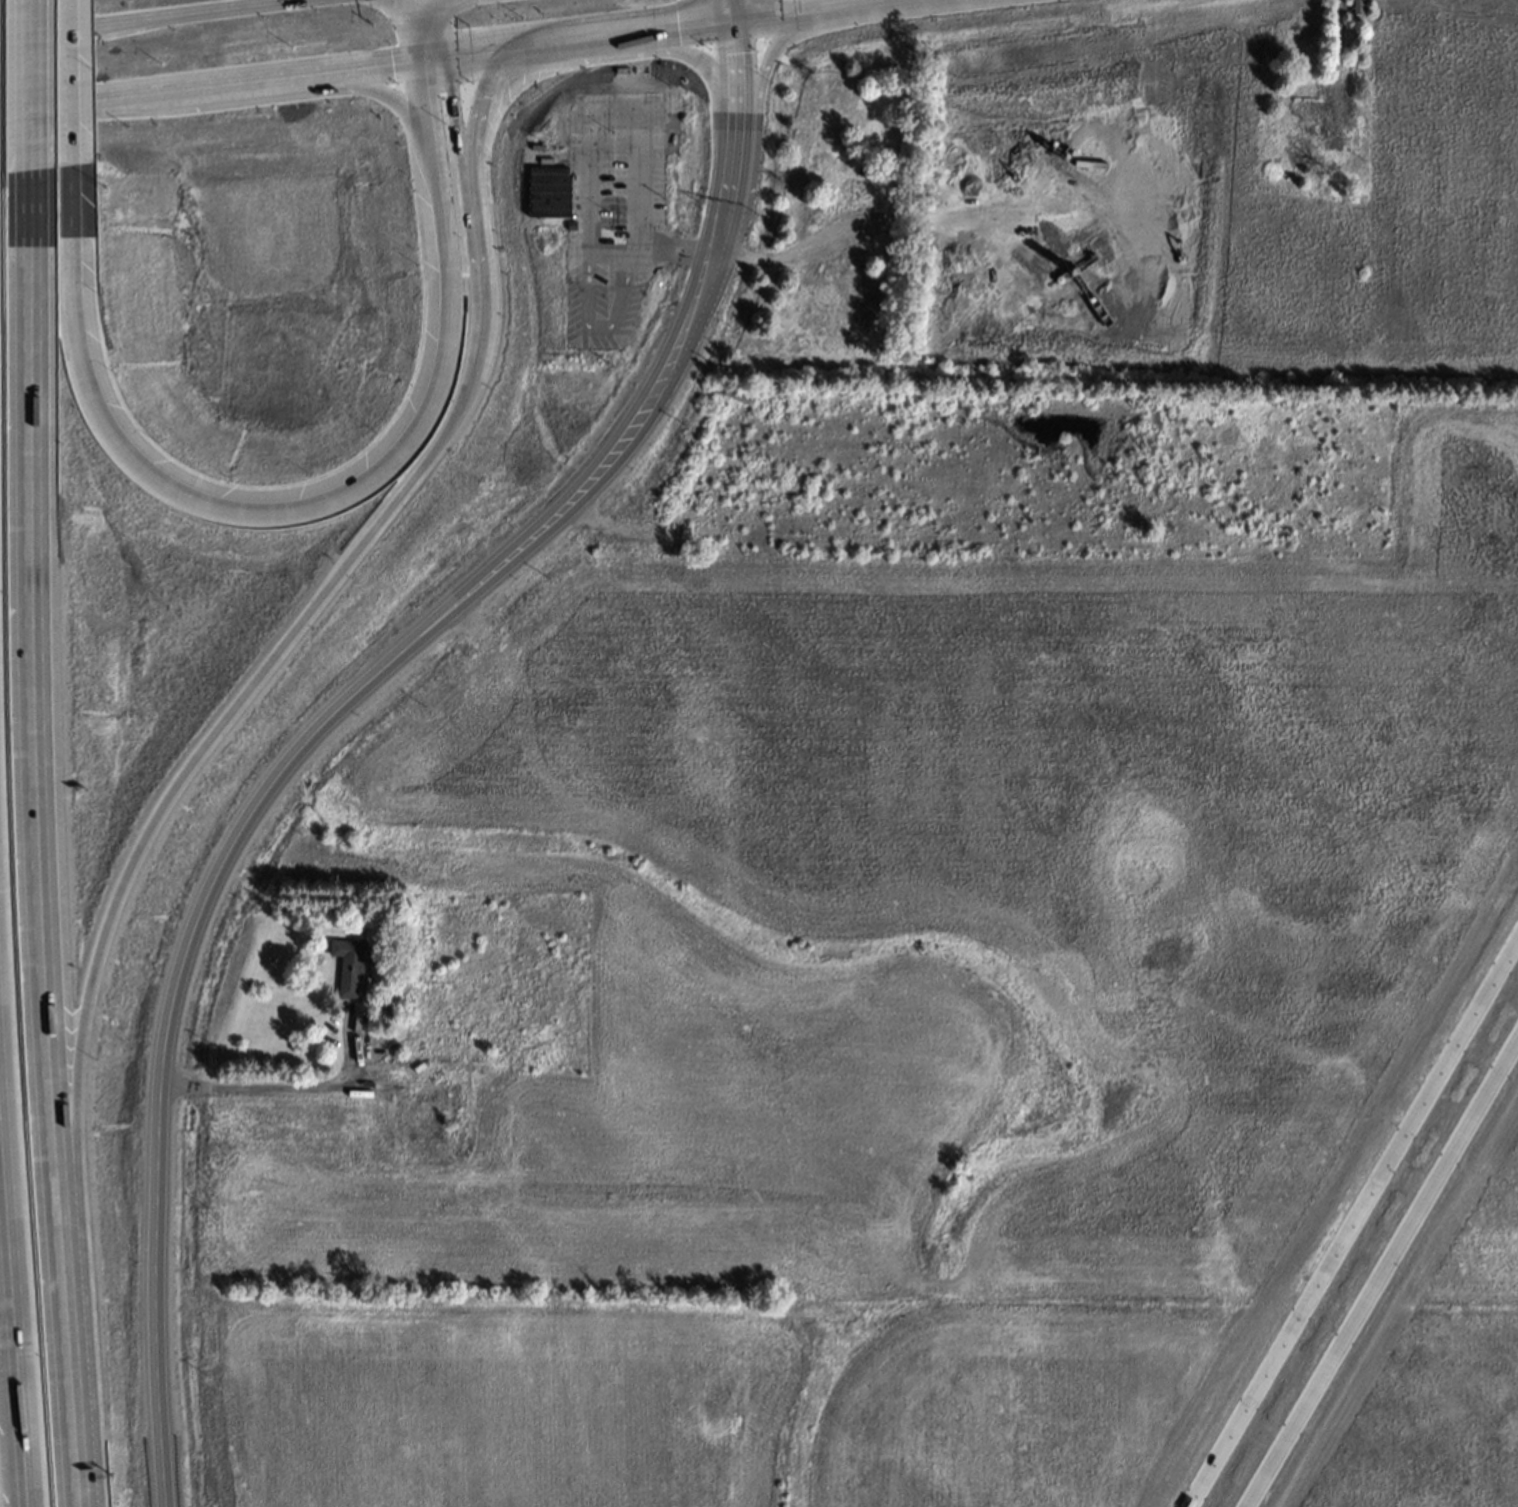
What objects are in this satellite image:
building: (1358, 6)
road: (729, 10)
road: (819, 11)
road: (148, 16)
traffic signals: (731, 20)
road: (441, 28)
road: (408, 31)
road: (624, 32)
road: (91, 37)
road: (668, 47)
road: (482, 52)
traffic signals: (446, 57)
road: (429, 59)
traffic signals: (413, 62)
road: (735, 67)
road: (74, 79)
road: (29, 82)
road: (206, 84)
road: (265, 99)
road: (760, 102)
building: (619, 103)
road: (472, 143)
road: (461, 155)
road: (731, 173)
parking lot: (617, 190)
building: (550, 191)
road: (587, 213)
road: (877, 220)
road: (720, 242)
road: (603, 327)
road: (476, 352)
road: (312, 504)
road: (49, 747)
road: (260, 803)
road: (138, 838)
crop: (959, 840)
building: (349, 964)
road: (272, 1089)
road: (1352, 1221)
road: (1380, 1271)
road: (10, 1334)
road: (72, 1418)
road: (7, 1441)

